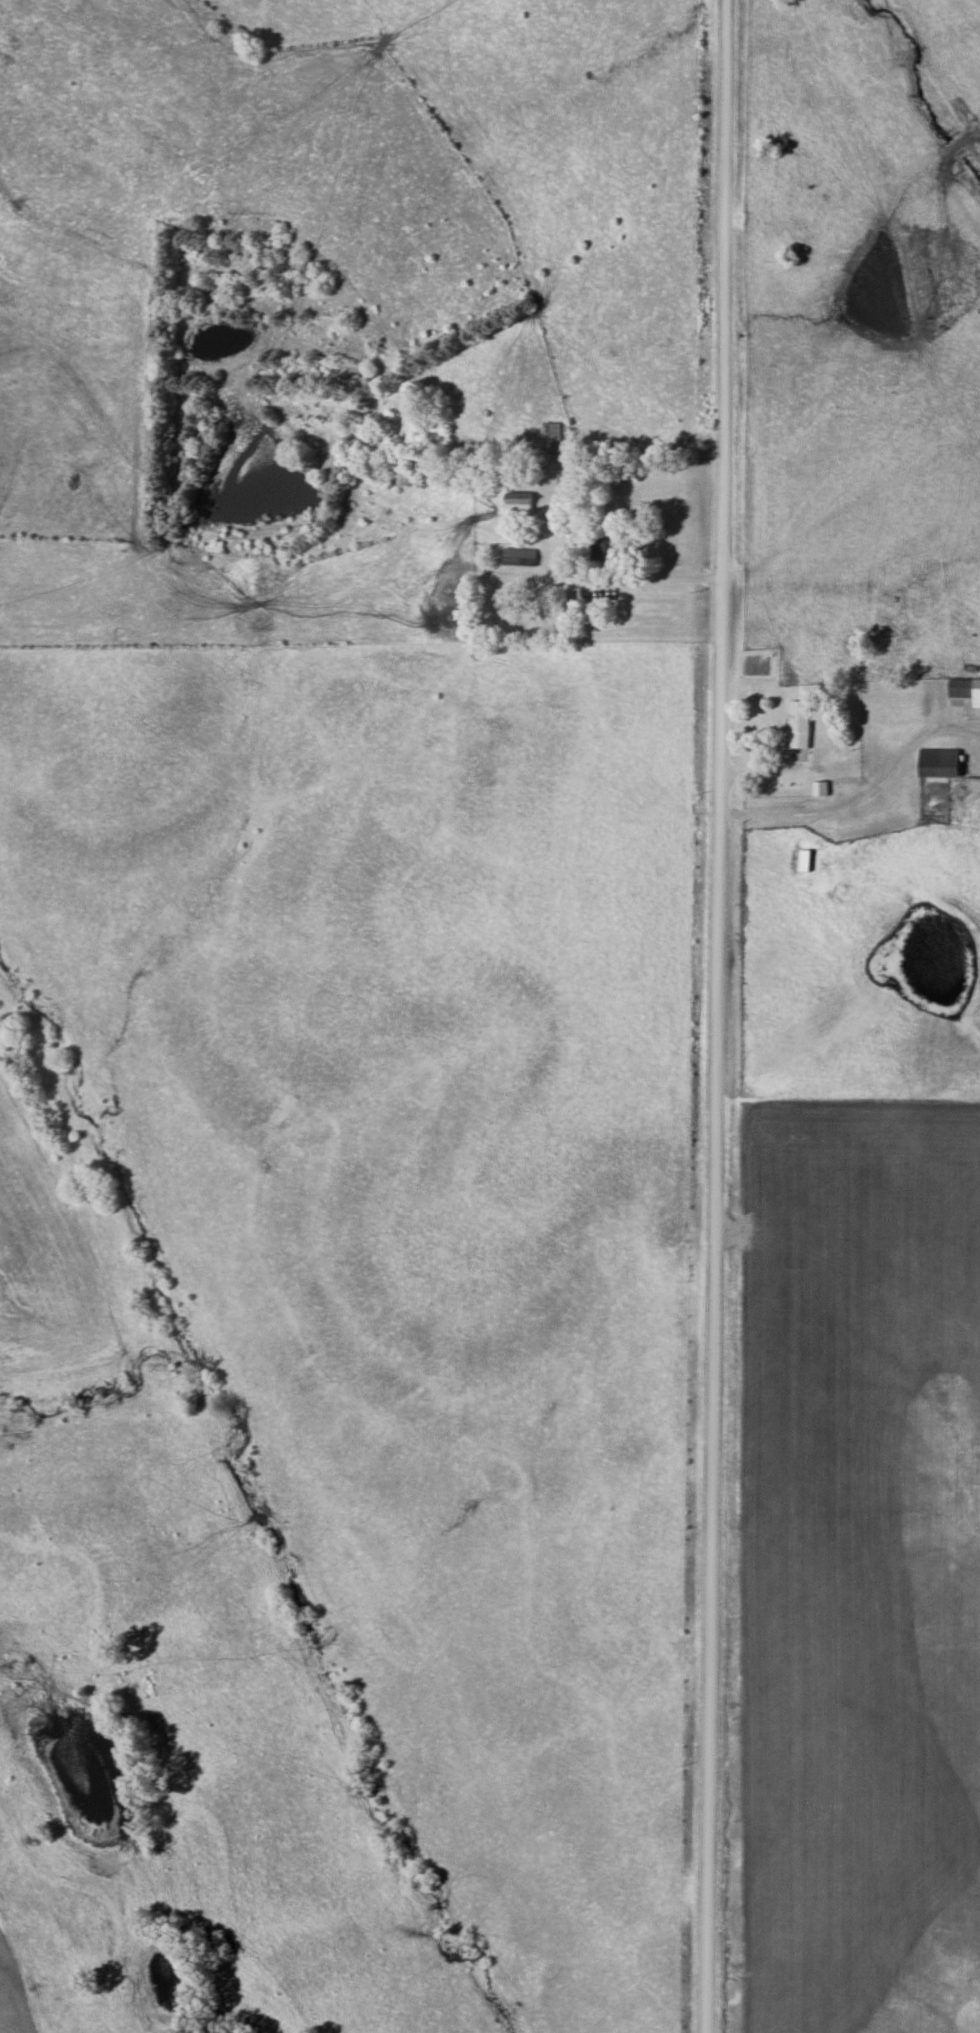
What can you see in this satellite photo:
building: (548, 431)
building: (513, 503)
building: (600, 550)
building: (515, 556)
road: (663, 578)
building: (574, 599)
building: (963, 690)
building: (794, 725)
building: (933, 764)
road: (821, 768)
building: (815, 789)
building: (821, 839)
road: (717, 1016)

